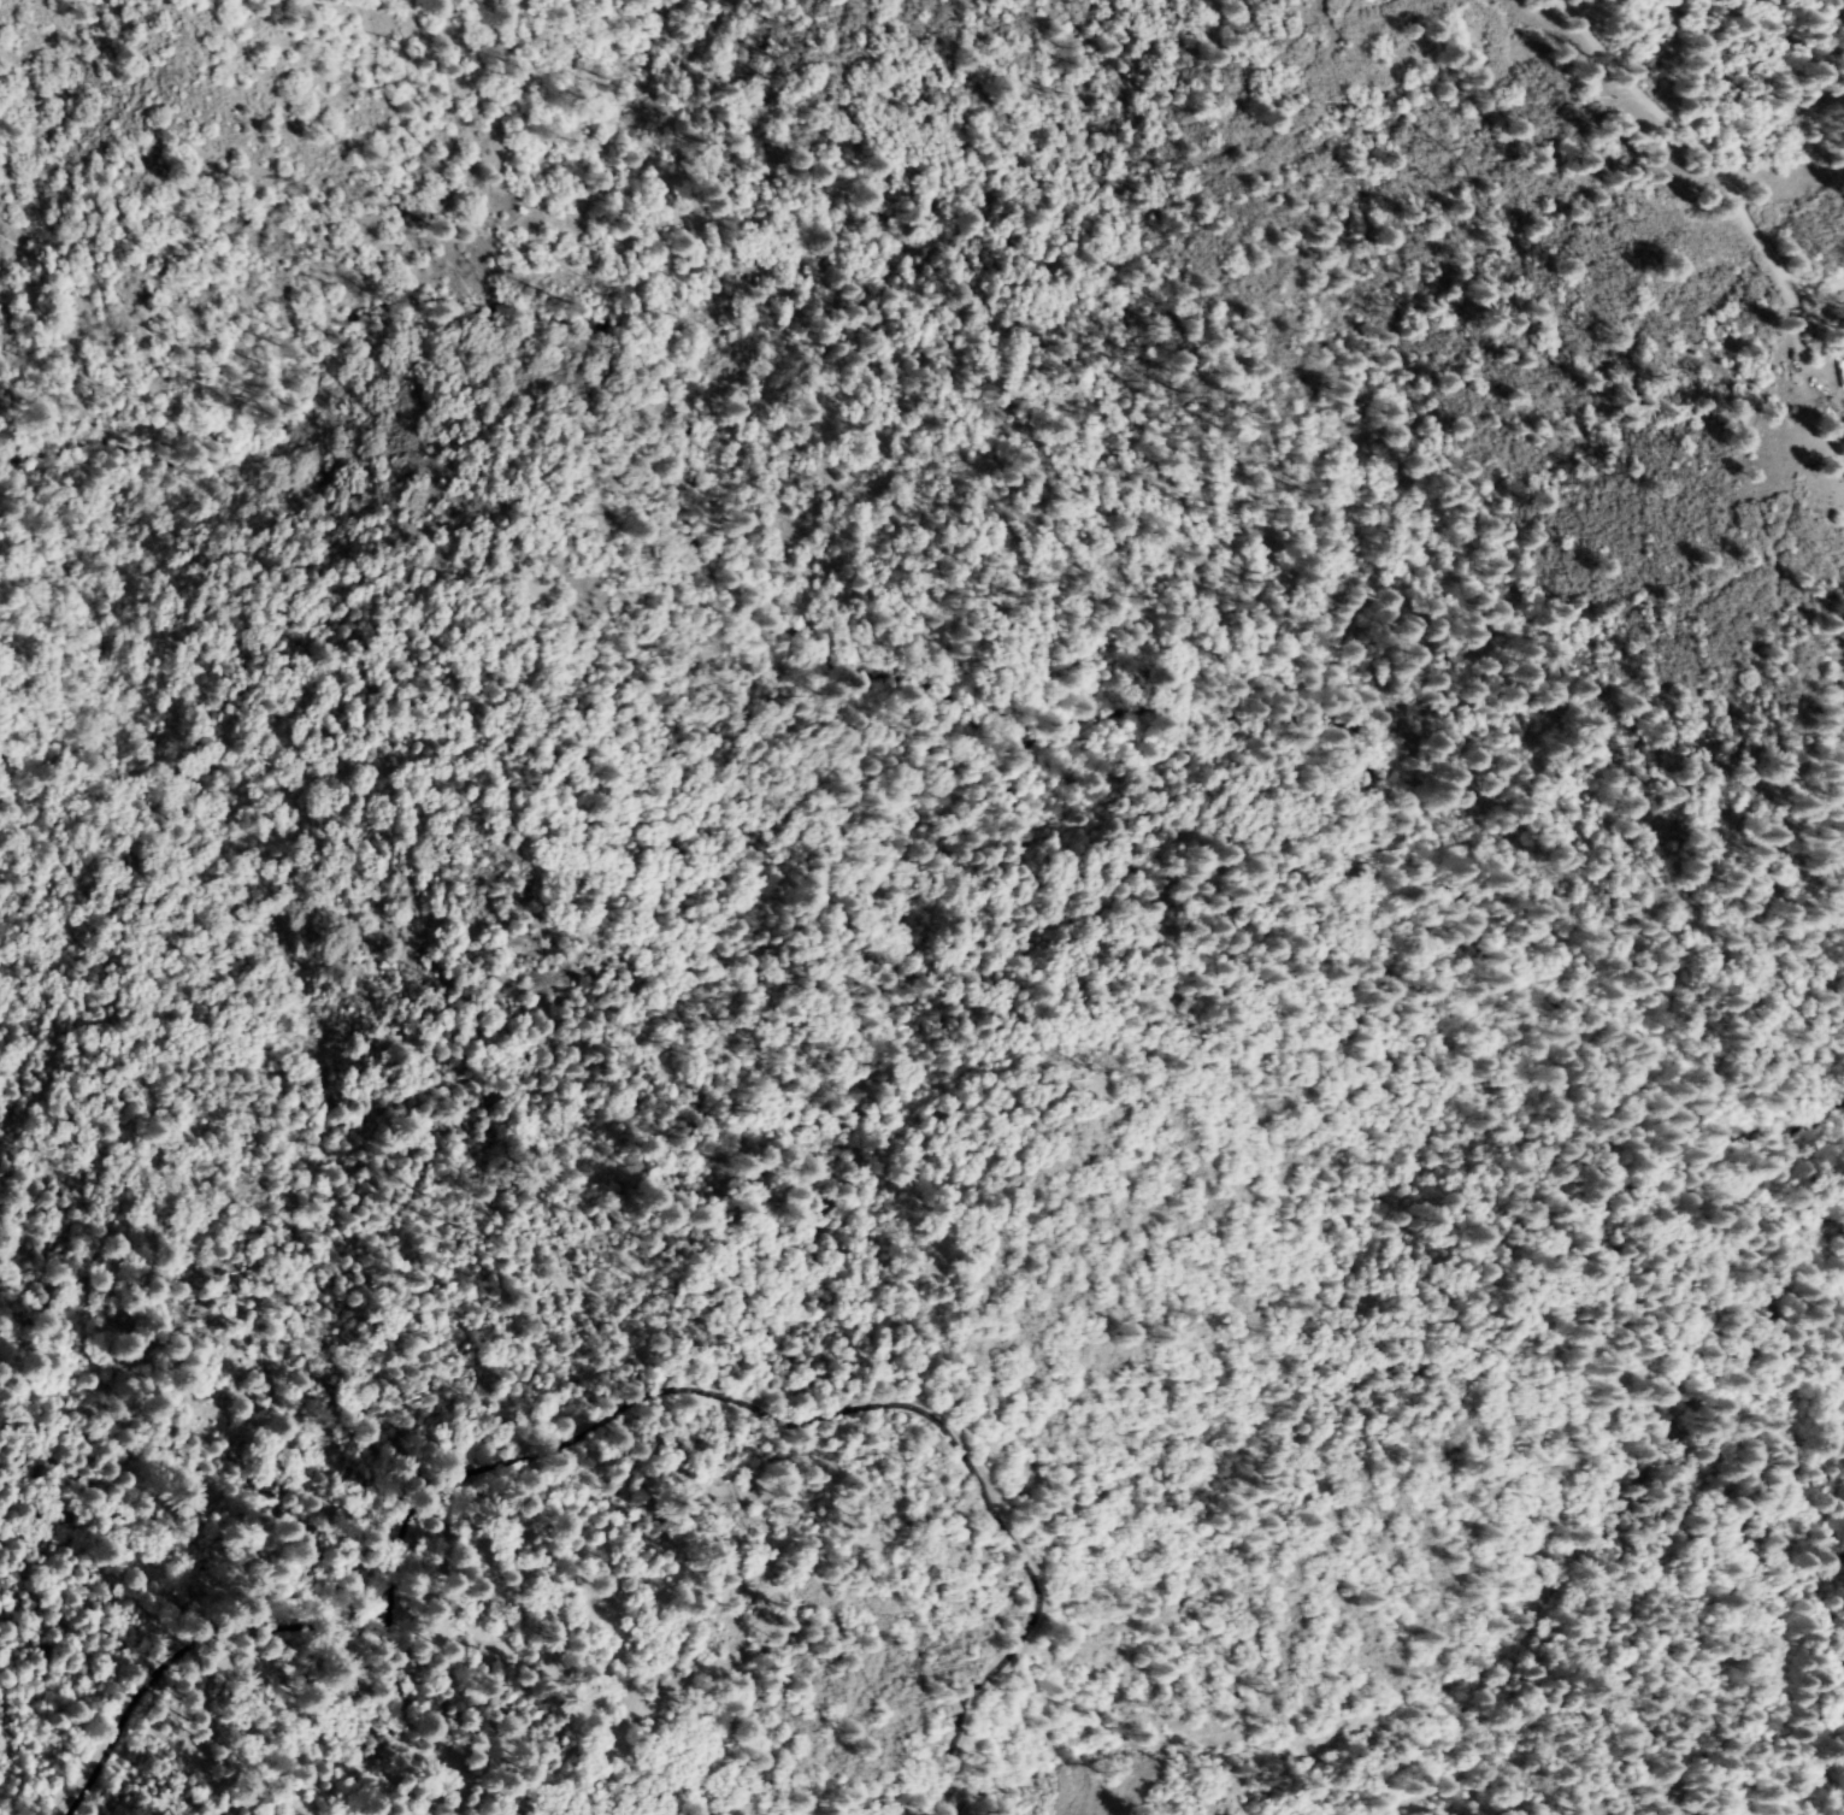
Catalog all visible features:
road: (1696, 157)
building: (1840, 370)

